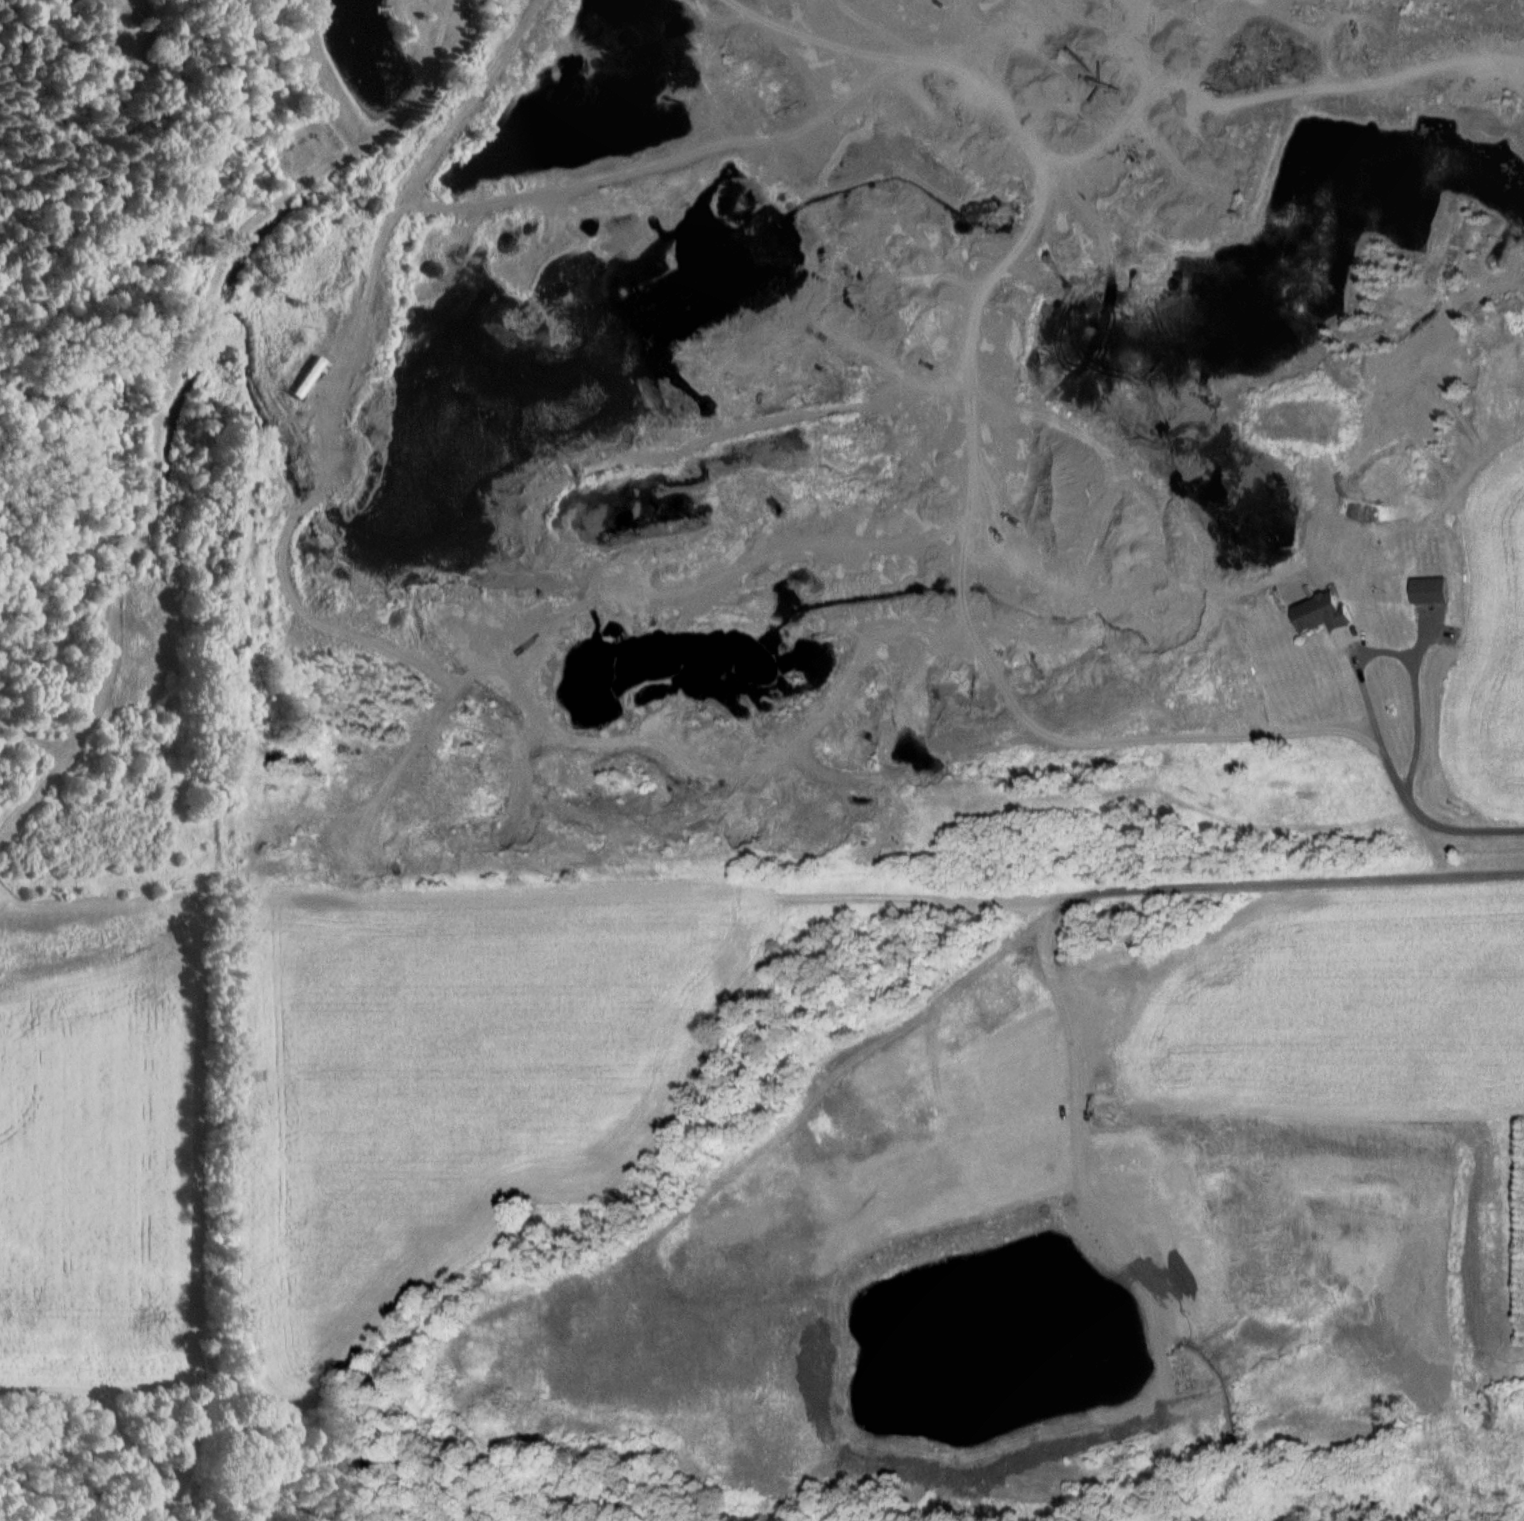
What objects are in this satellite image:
building: (1427, 589)
building: (1318, 612)
road: (1380, 649)
road: (1456, 832)
building: (665, 1297)
road: (154, 1516)

